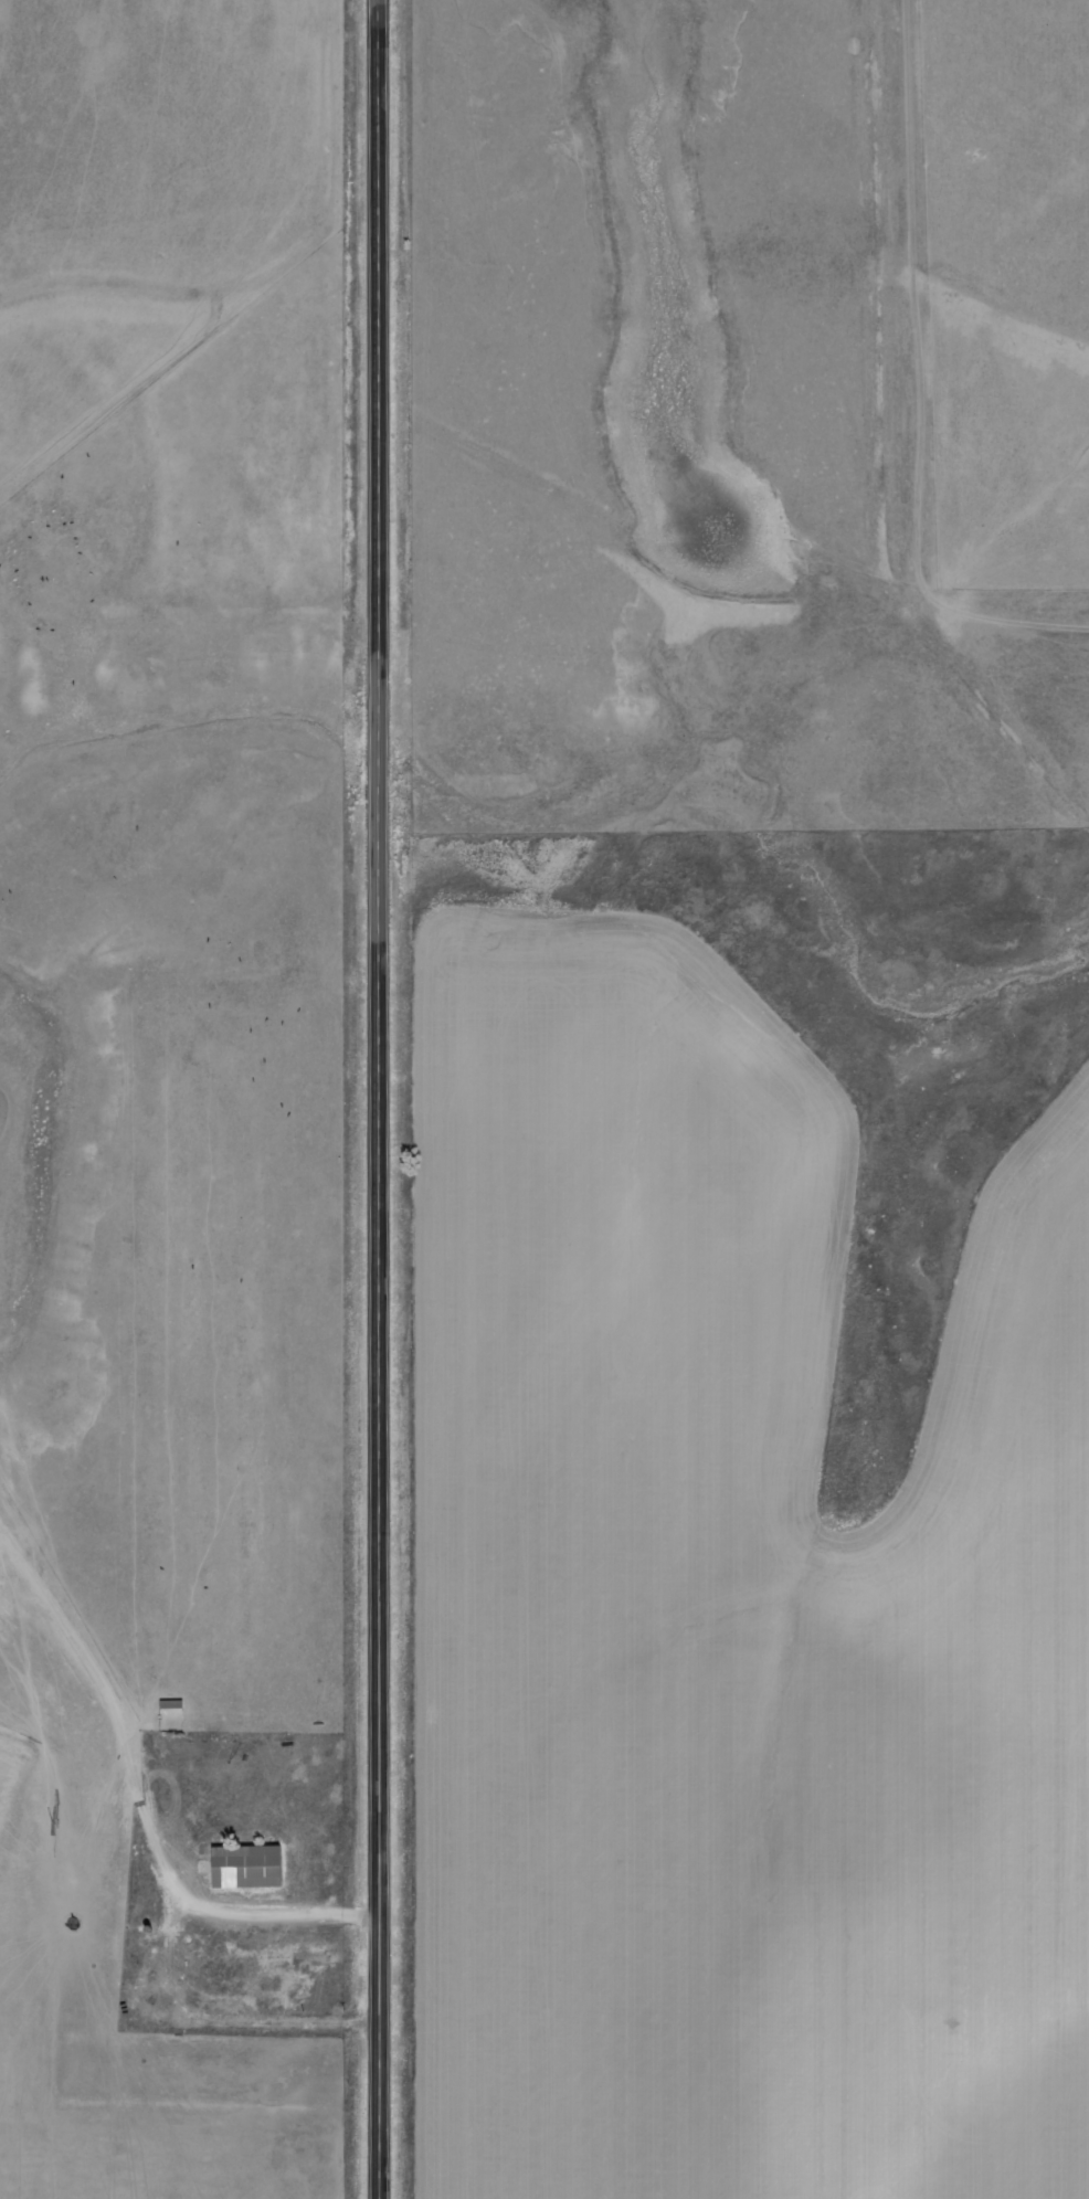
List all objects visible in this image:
road: (387, 299)
road: (189, 605)
road: (387, 1399)
road: (105, 1799)

